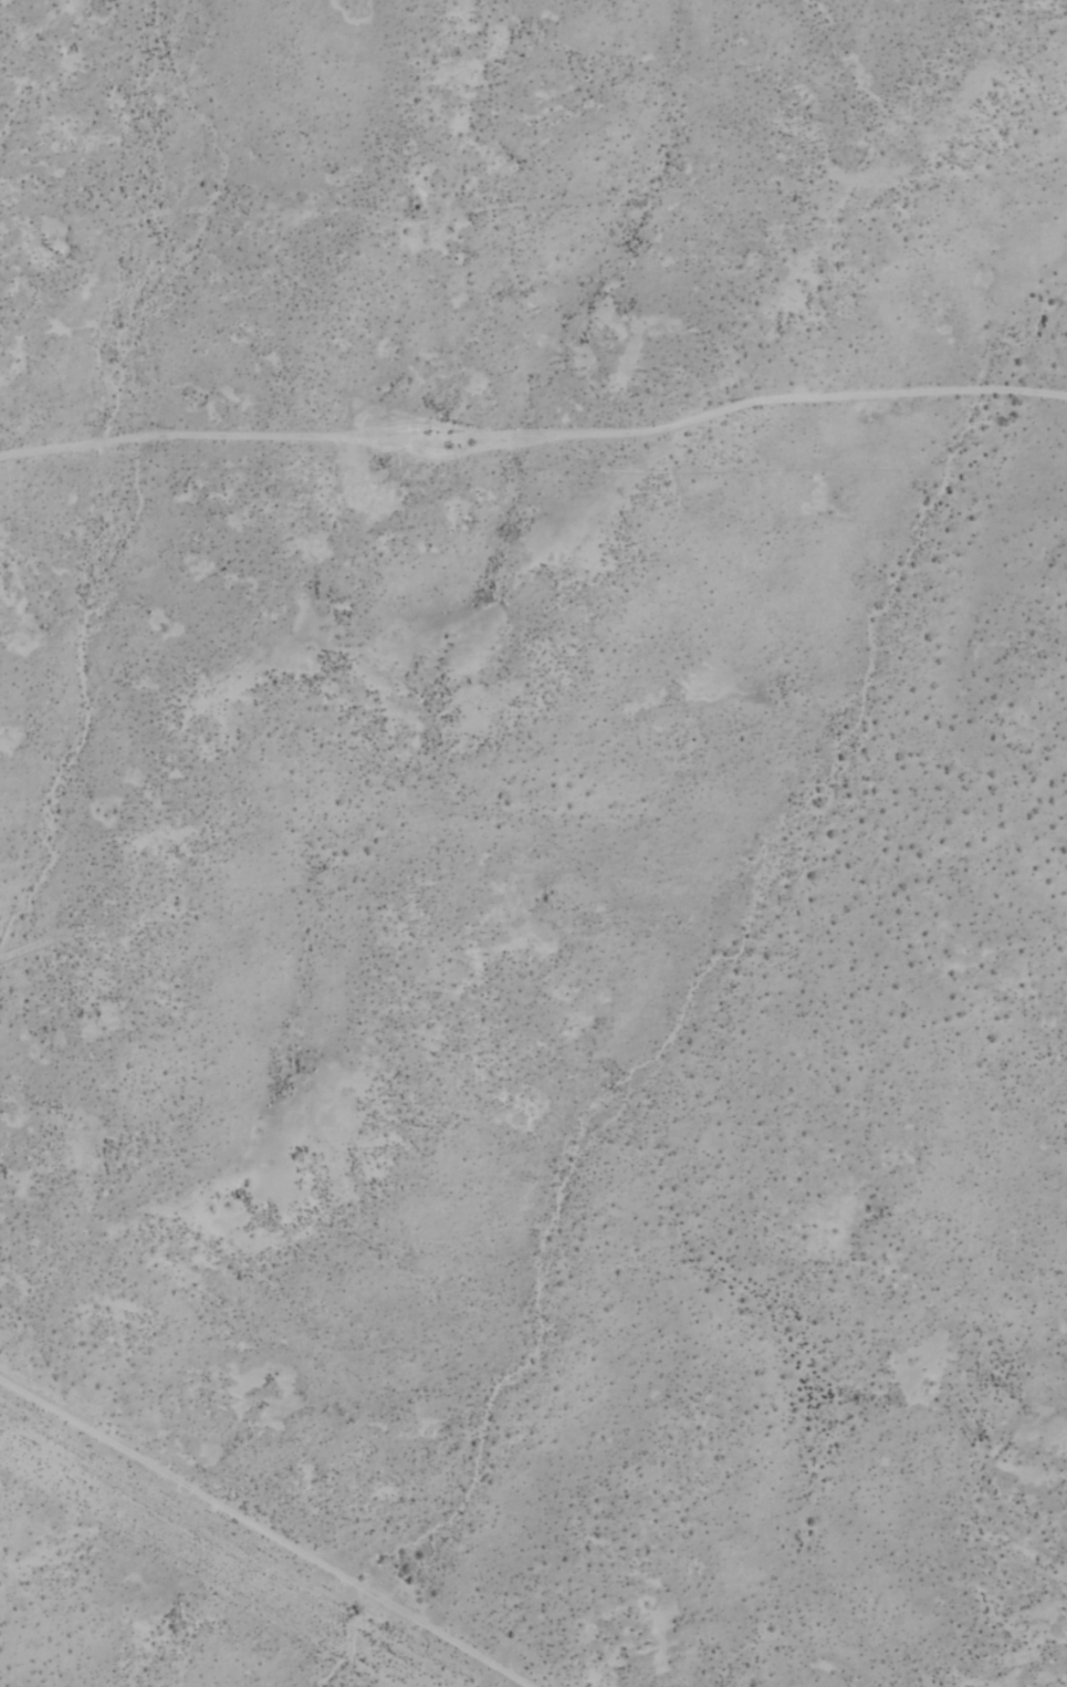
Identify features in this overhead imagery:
road: (266, 1531)

